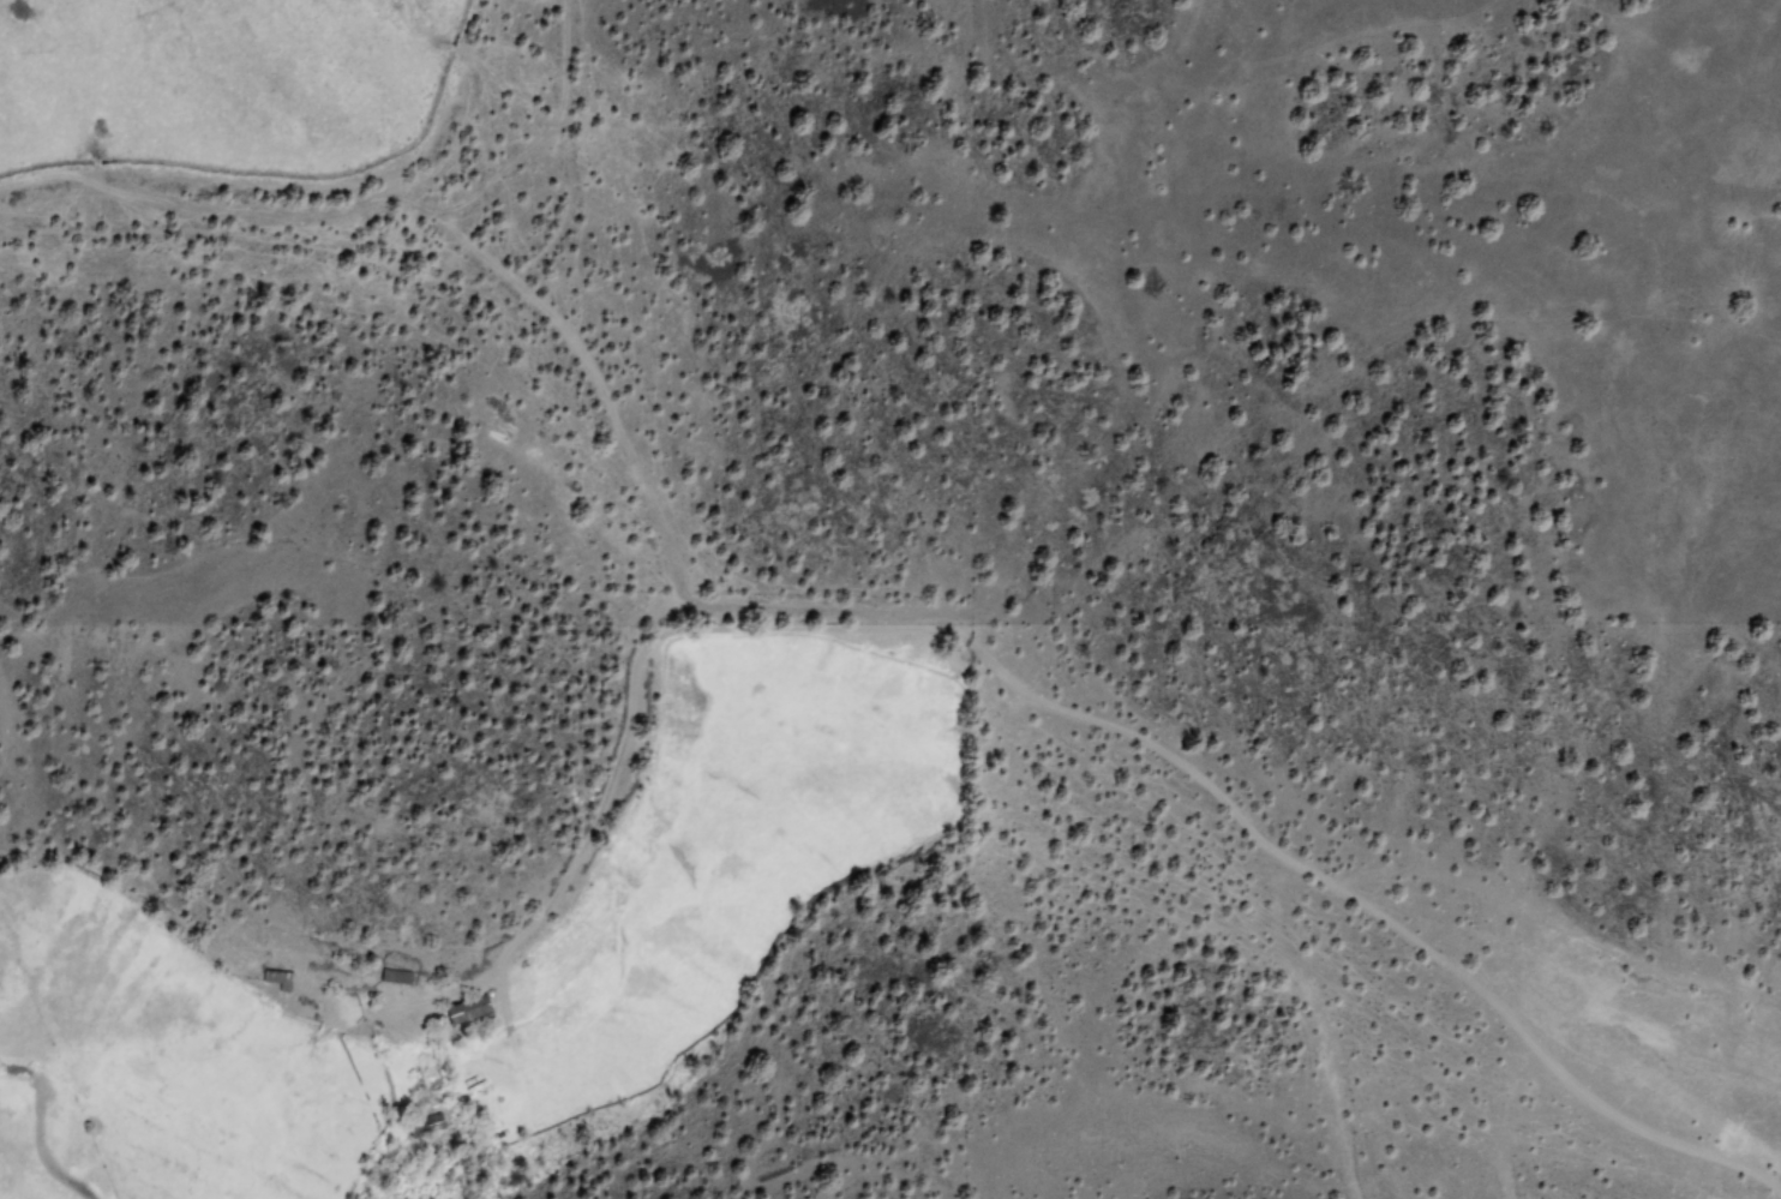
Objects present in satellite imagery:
road: (1086, 714)
building: (395, 977)
building: (467, 1009)
building: (428, 1123)

